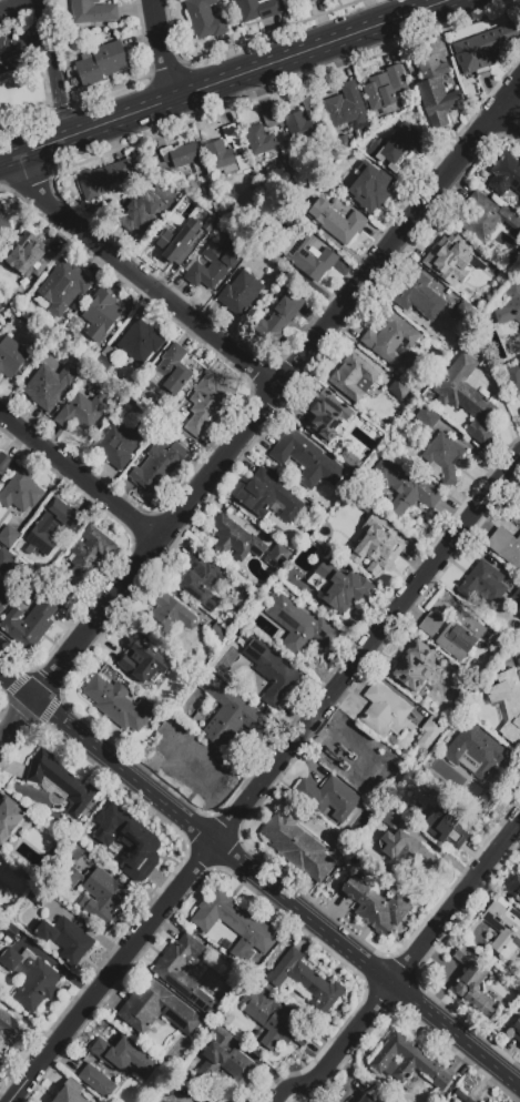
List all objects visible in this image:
building: (290, 0)
building: (309, 1)
road: (13, 4)
building: (258, 9)
building: (91, 13)
road: (40, 17)
building: (205, 19)
road: (23, 42)
building: (485, 48)
road: (162, 50)
building: (101, 63)
building: (471, 78)
building: (397, 79)
road: (225, 81)
road: (55, 87)
building: (436, 91)
building: (380, 94)
building: (309, 105)
building: (346, 107)
building: (271, 119)
road: (508, 120)
building: (299, 127)
building: (232, 135)
building: (259, 140)
street lamp: (497, 141)
building: (399, 146)
building: (185, 158)
building: (224, 159)
building: (506, 174)
building: (104, 179)
building: (370, 190)
building: (139, 211)
building: (3, 219)
building: (488, 220)
building: (337, 222)
building: (173, 240)
building: (309, 257)
building: (30, 260)
building: (450, 260)
building: (481, 263)
building: (213, 265)
building: (271, 269)
road: (140, 280)
building: (63, 286)
building: (238, 294)
building: (420, 297)
building: (511, 305)
building: (465, 312)
building: (100, 315)
building: (279, 319)
building: (394, 342)
building: (140, 343)
building: (109, 353)
building: (11, 357)
building: (172, 373)
building: (355, 378)
building: (513, 378)
building: (49, 385)
building: (398, 390)
road: (276, 392)
building: (466, 397)
building: (207, 406)
building: (82, 412)
building: (326, 414)
building: (427, 417)
building: (118, 442)
building: (443, 457)
building: (350, 459)
building: (306, 461)
building: (3, 463)
building: (157, 466)
road: (81, 474)
building: (402, 486)
building: (21, 493)
building: (268, 496)
building: (519, 499)
building: (52, 526)
building: (9, 536)
building: (235, 539)
building: (376, 545)
building: (506, 547)
building: (0, 548)
building: (86, 557)
building: (277, 557)
building: (6, 559)
building: (204, 580)
building: (296, 583)
building: (483, 583)
building: (340, 587)
building: (3, 595)
building: (517, 596)
building: (172, 615)
building: (30, 624)
building: (299, 625)
building: (431, 625)
building: (217, 633)
building: (460, 636)
building: (494, 638)
building: (519, 661)
building: (143, 663)
building: (412, 667)
building: (272, 671)
building: (119, 704)
building: (507, 704)
building: (385, 712)
building: (230, 717)
road: (17, 725)
building: (429, 732)
building: (477, 752)
building: (353, 755)
building: (190, 762)
road: (265, 779)
building: (61, 783)
building: (328, 798)
building: (9, 818)
building: (440, 818)
building: (391, 819)
building: (135, 840)
building: (297, 846)
building: (407, 856)
road: (259, 882)
building: (514, 889)
building: (98, 893)
building: (38, 897)
building: (1, 901)
road: (456, 906)
building: (375, 907)
building: (233, 921)
building: (503, 928)
building: (64, 939)
building: (184, 971)
building: (31, 979)
building: (305, 982)
street lamp: (425, 982)
building: (473, 982)
building: (156, 1010)
building: (272, 1020)
building: (517, 1030)
building: (9, 1032)
road: (349, 1041)
building: (123, 1055)
building: (225, 1061)
building: (95, 1063)
building: (408, 1064)
building: (96, 1082)
road: (294, 1089)
building: (69, 1095)
building: (165, 1095)
building: (462, 1096)
building: (367, 1099)

